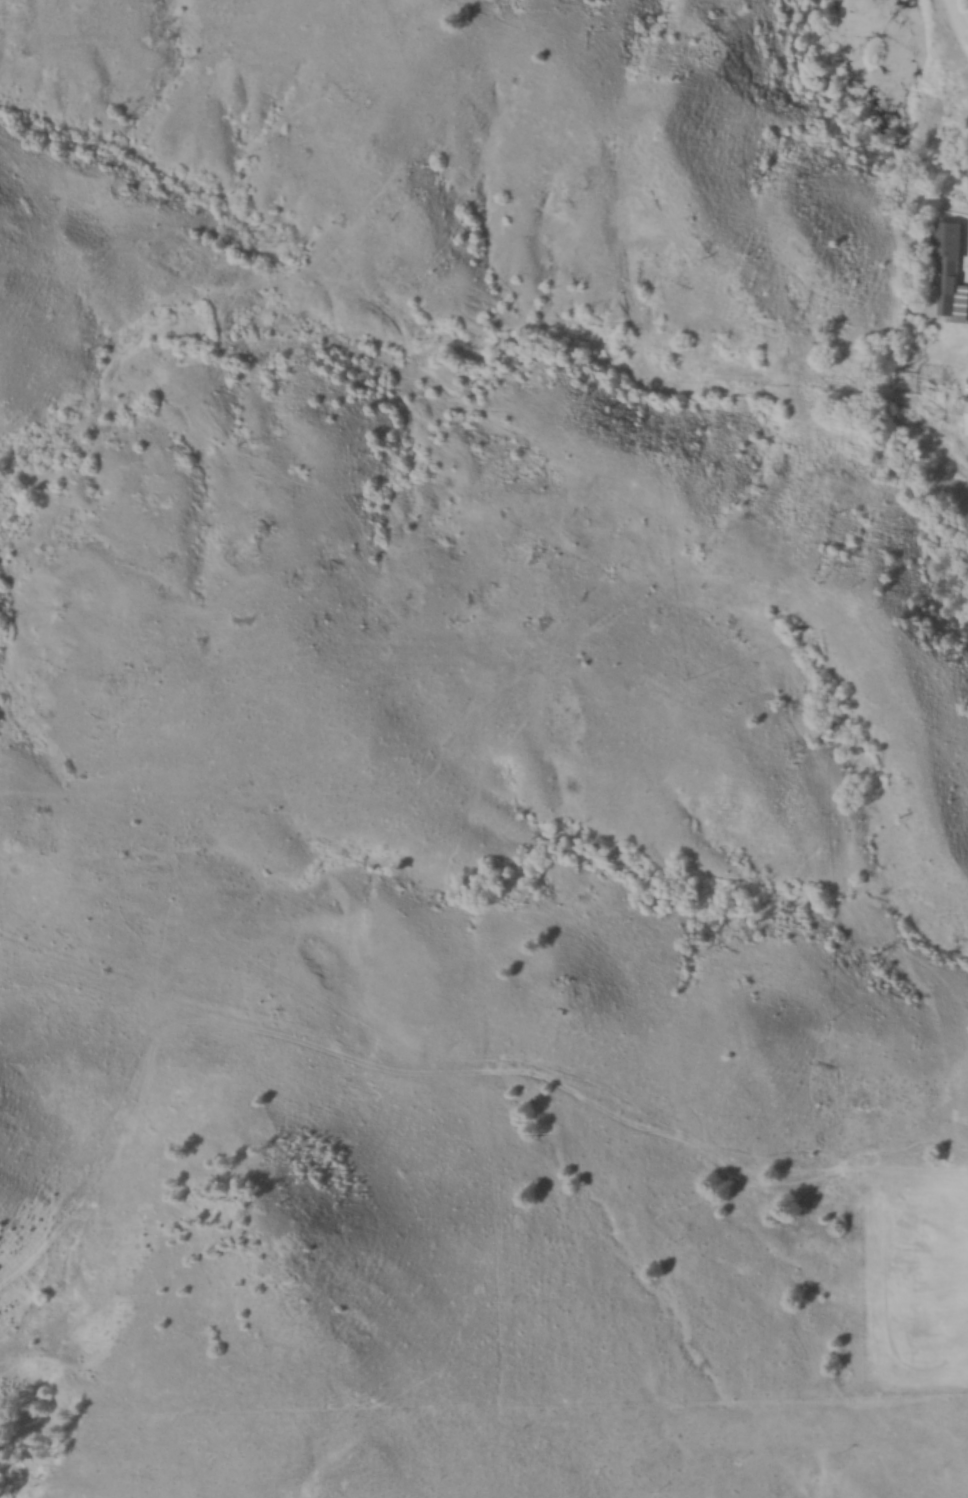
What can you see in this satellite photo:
road: (953, 30)
building: (953, 270)

